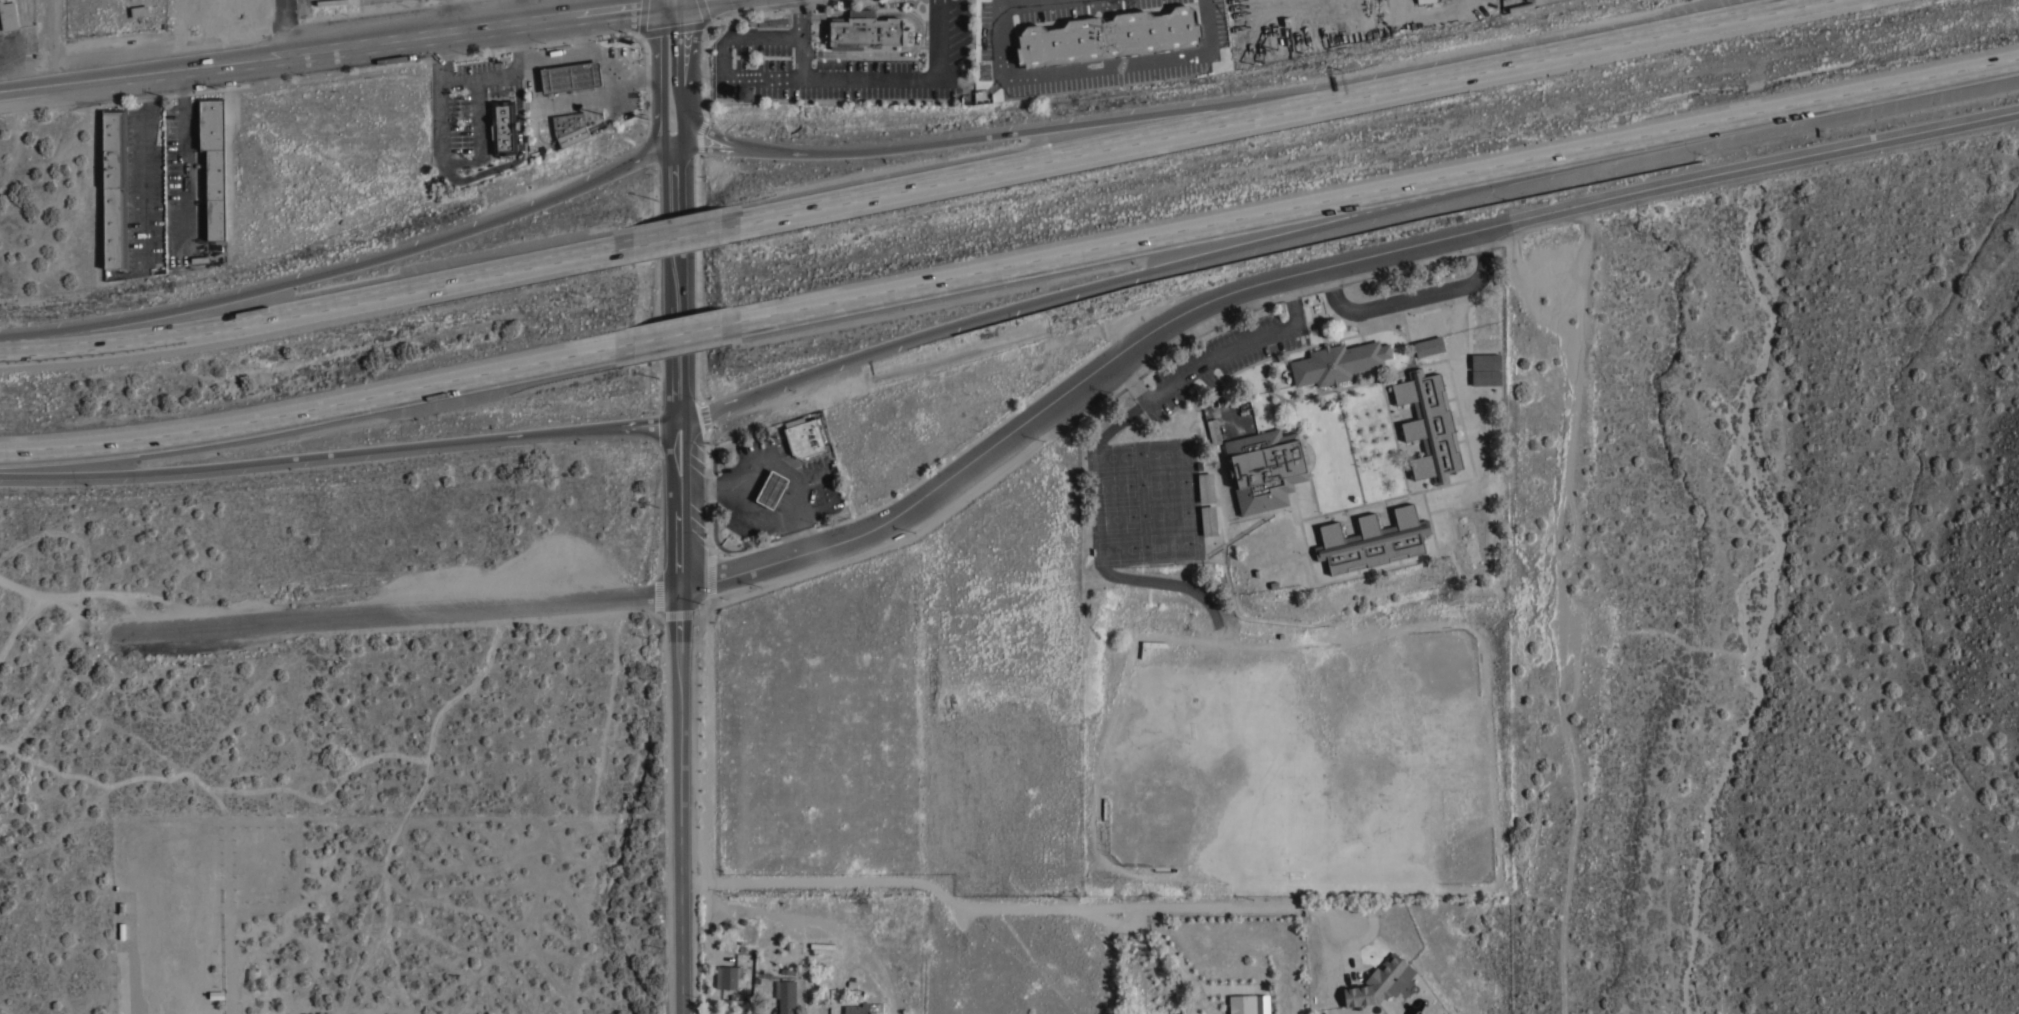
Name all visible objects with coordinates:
road: (671, 1)
road: (681, 1)
building: (1424, 1)
building: (1520, 6)
building: (139, 11)
road: (510, 11)
road: (798, 12)
building: (8, 16)
road: (445, 16)
road: (289, 25)
building: (863, 30)
road: (576, 35)
building: (1108, 37)
road: (335, 45)
road: (685, 45)
road: (1574, 48)
road: (800, 49)
road: (808, 73)
road: (632, 75)
building: (570, 76)
road: (657, 77)
road: (456, 79)
building: (745, 93)
road: (587, 96)
road: (686, 120)
building: (503, 127)
building: (569, 128)
road: (1012, 131)
road: (188, 153)
road: (478, 154)
road: (514, 157)
road: (1049, 159)
road: (147, 162)
building: (213, 163)
building: (114, 188)
road: (1384, 193)
road: (687, 233)
road: (1322, 267)
road: (344, 269)
road: (1119, 278)
road: (315, 308)
road: (690, 332)
building: (1429, 346)
road: (1219, 352)
building: (1485, 361)
building: (1338, 362)
building: (1486, 377)
road: (317, 407)
building: (1429, 425)
building: (1213, 431)
building: (803, 437)
road: (344, 451)
road: (779, 467)
building: (1265, 468)
building: (1205, 487)
building: (771, 489)
road: (752, 518)
building: (1208, 520)
building: (1372, 541)
road: (690, 580)
road: (407, 611)
building: (1153, 644)
building: (1105, 808)
building: (1165, 869)
road: (1018, 908)
road: (803, 922)
building: (728, 976)
building: (1380, 982)
building: (787, 997)
building: (1249, 1004)
building: (857, 1008)

